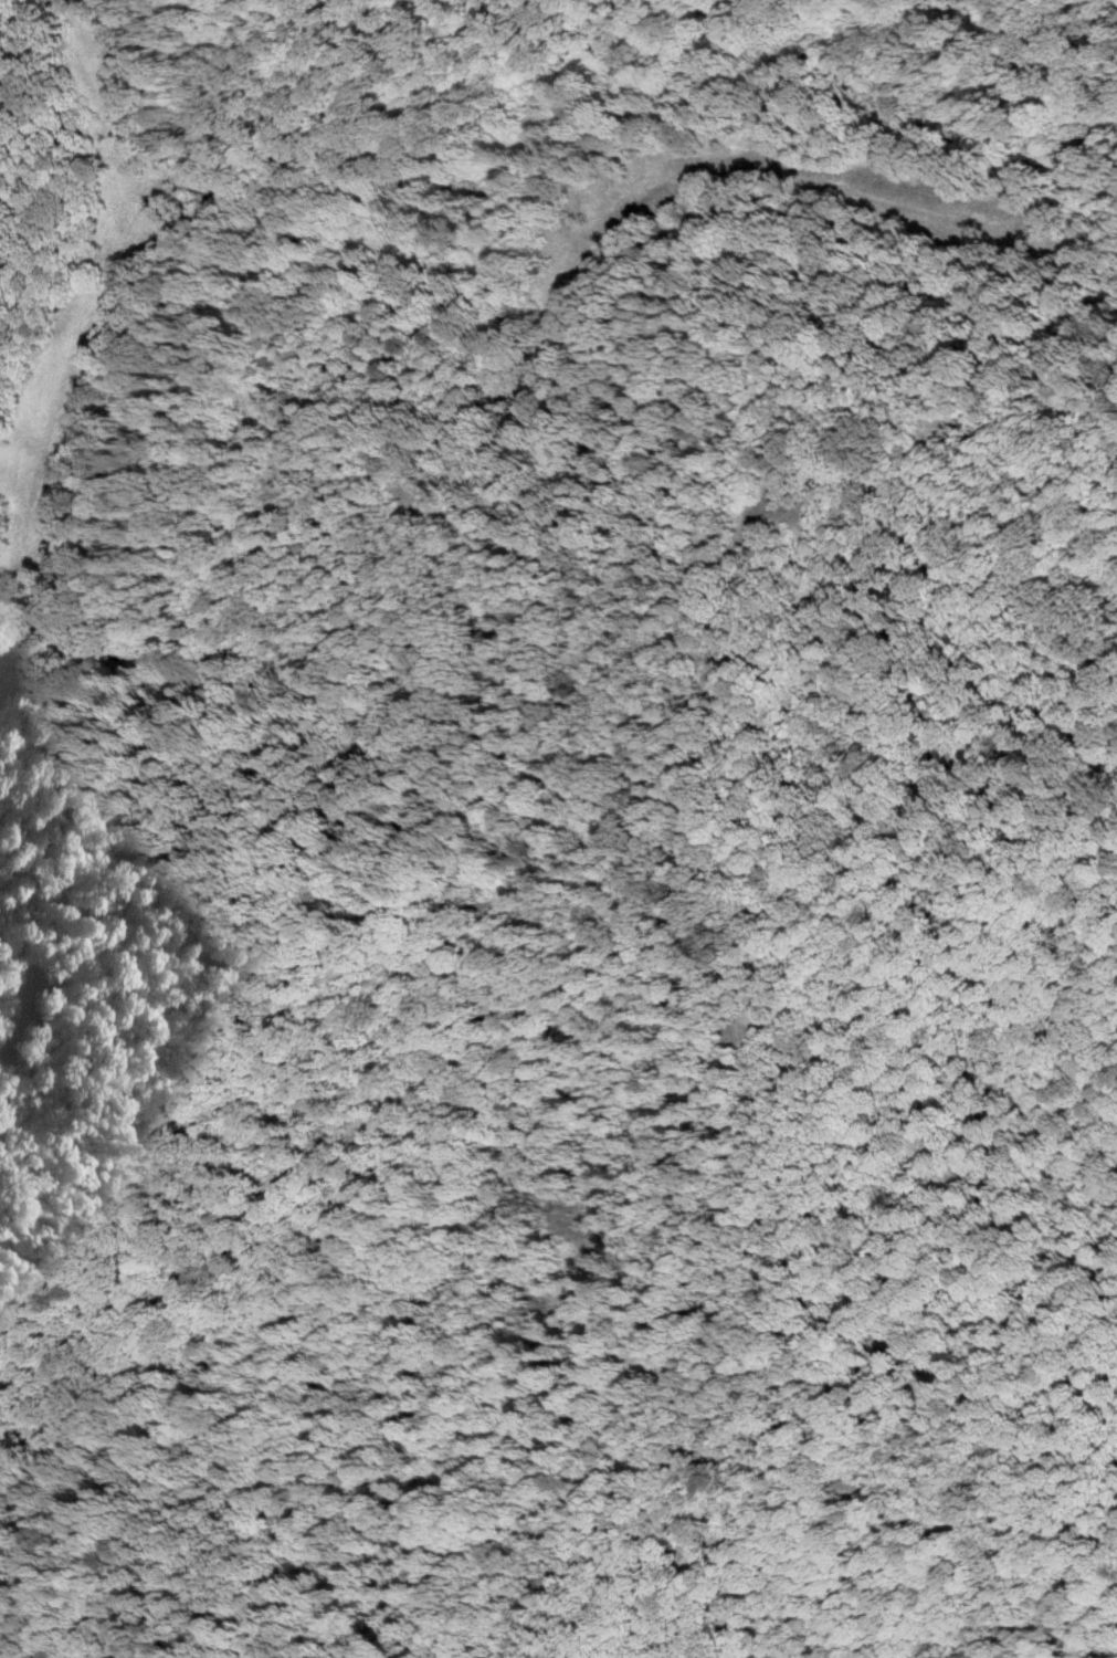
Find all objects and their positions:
road: (94, 1353)

